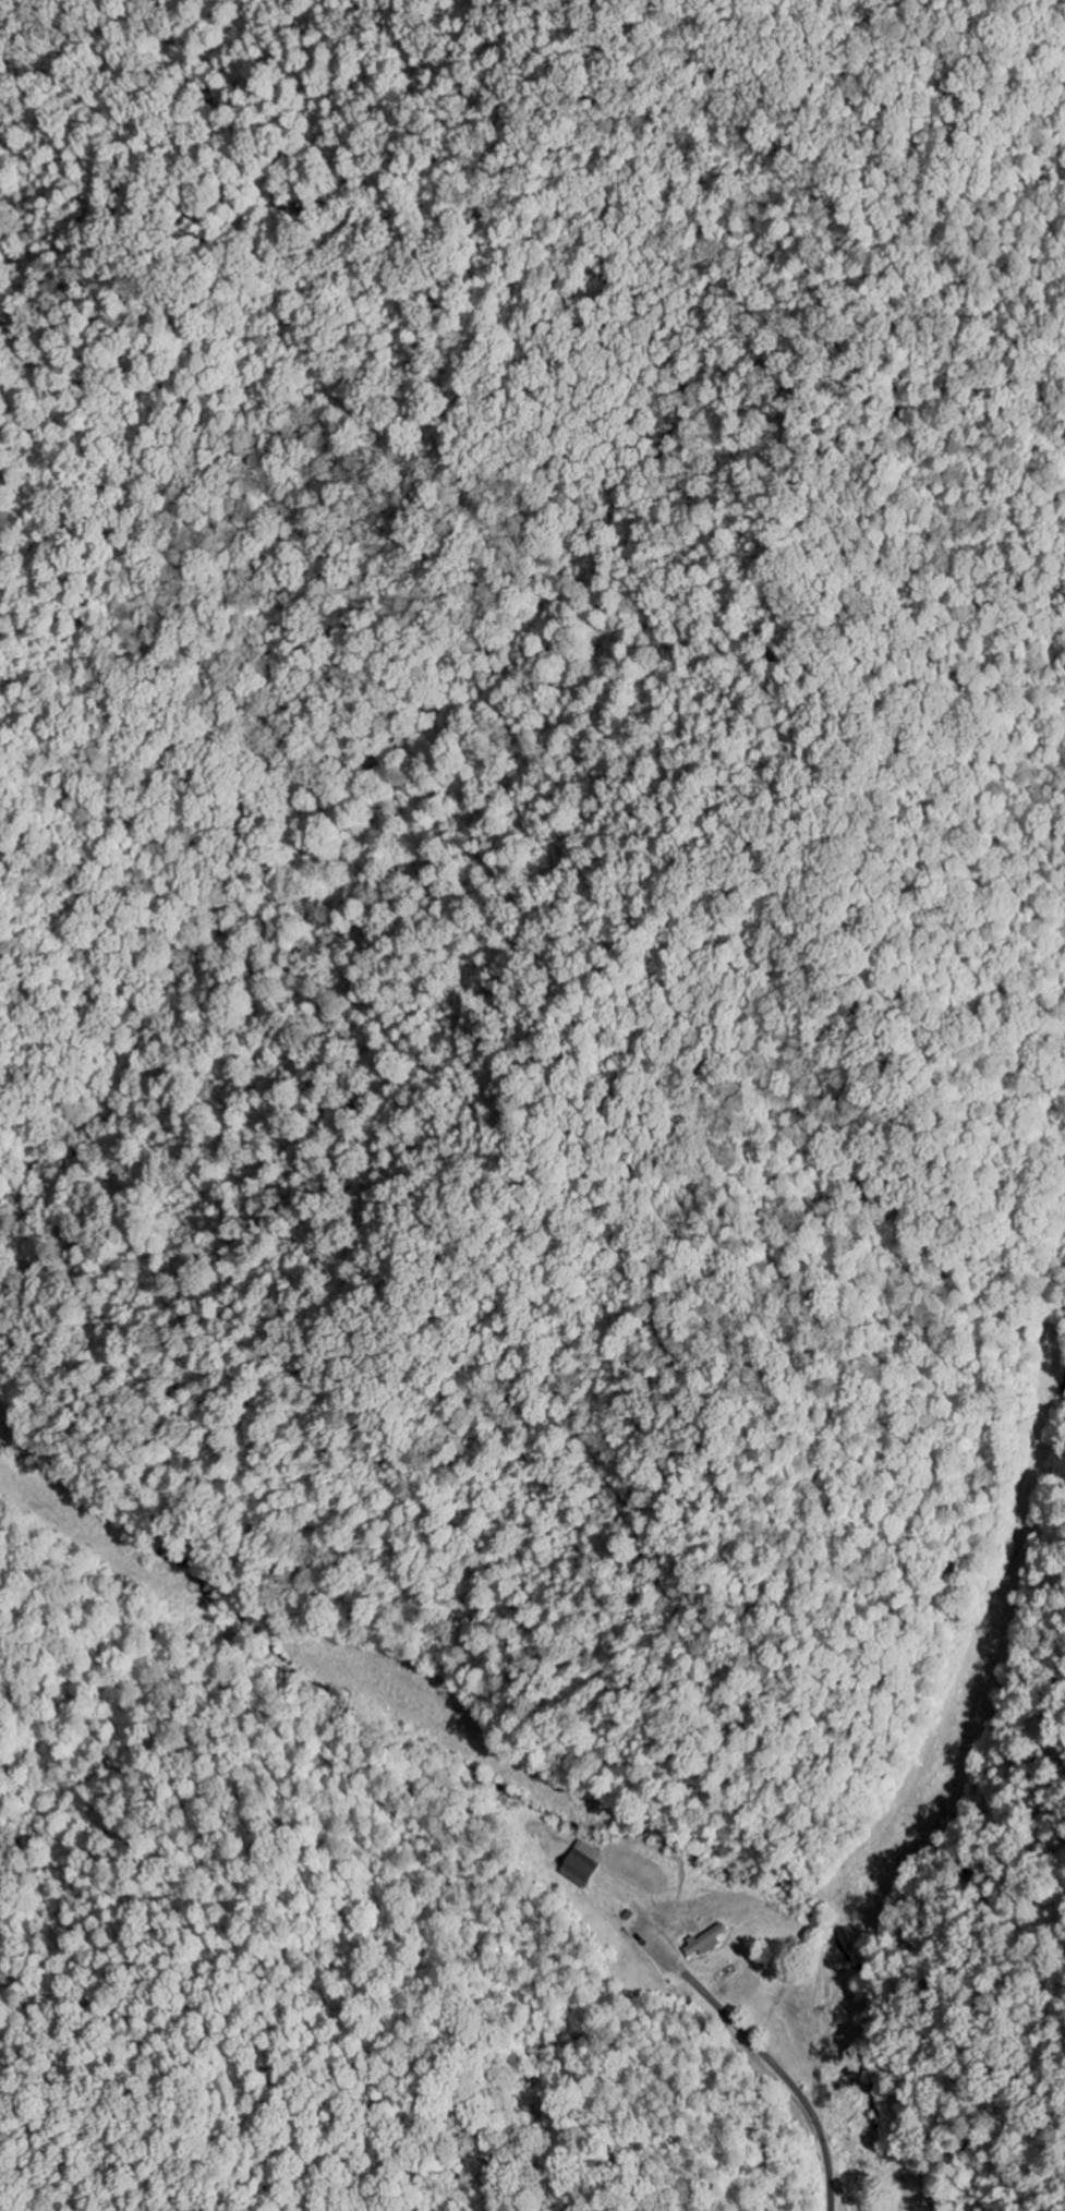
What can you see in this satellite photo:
building: (581, 1864)
building: (706, 1942)
road: (728, 2071)
road: (813, 2074)

